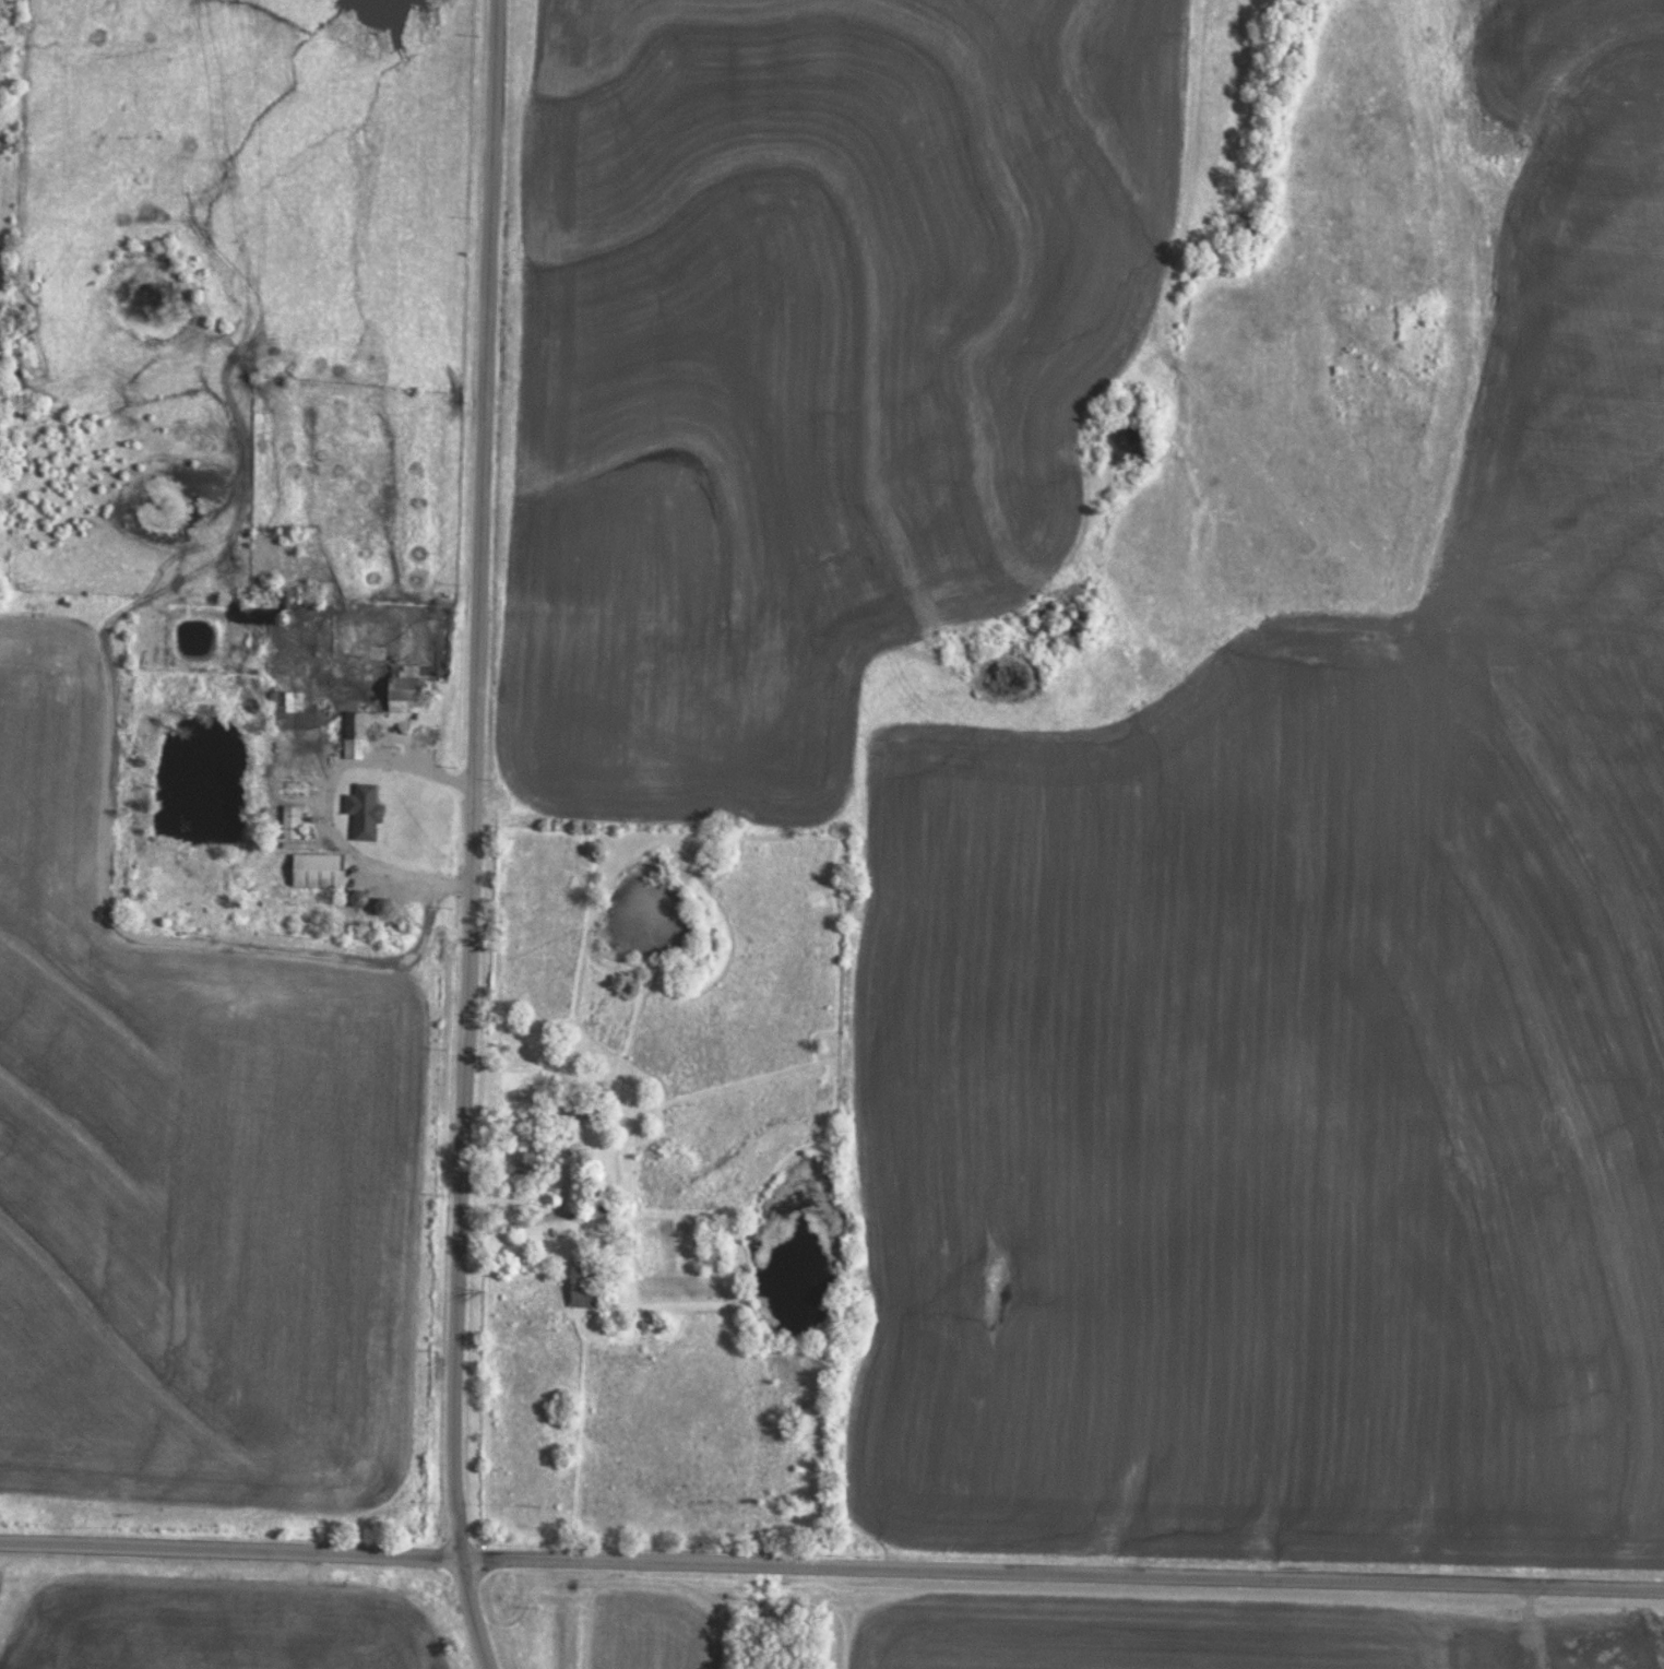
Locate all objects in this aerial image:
building: (403, 670)
building: (402, 698)
building: (285, 700)
building: (354, 734)
building: (381, 806)
road: (324, 809)
building: (292, 820)
road: (478, 836)
building: (318, 869)
building: (580, 1104)
building: (522, 1161)
building: (603, 1203)
road: (540, 1215)
building: (584, 1279)
road: (832, 1564)

